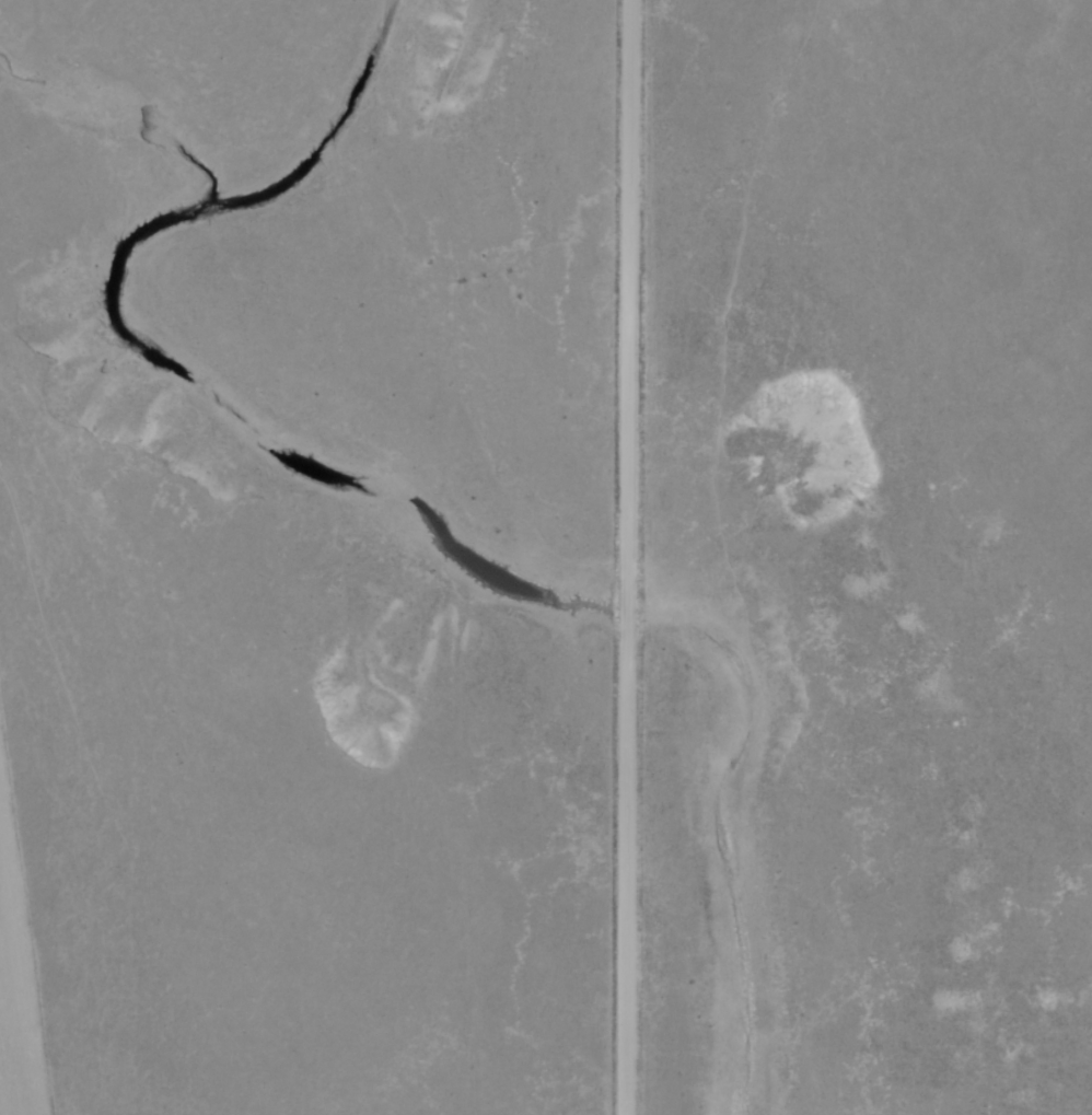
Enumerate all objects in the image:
road: (685, 557)

